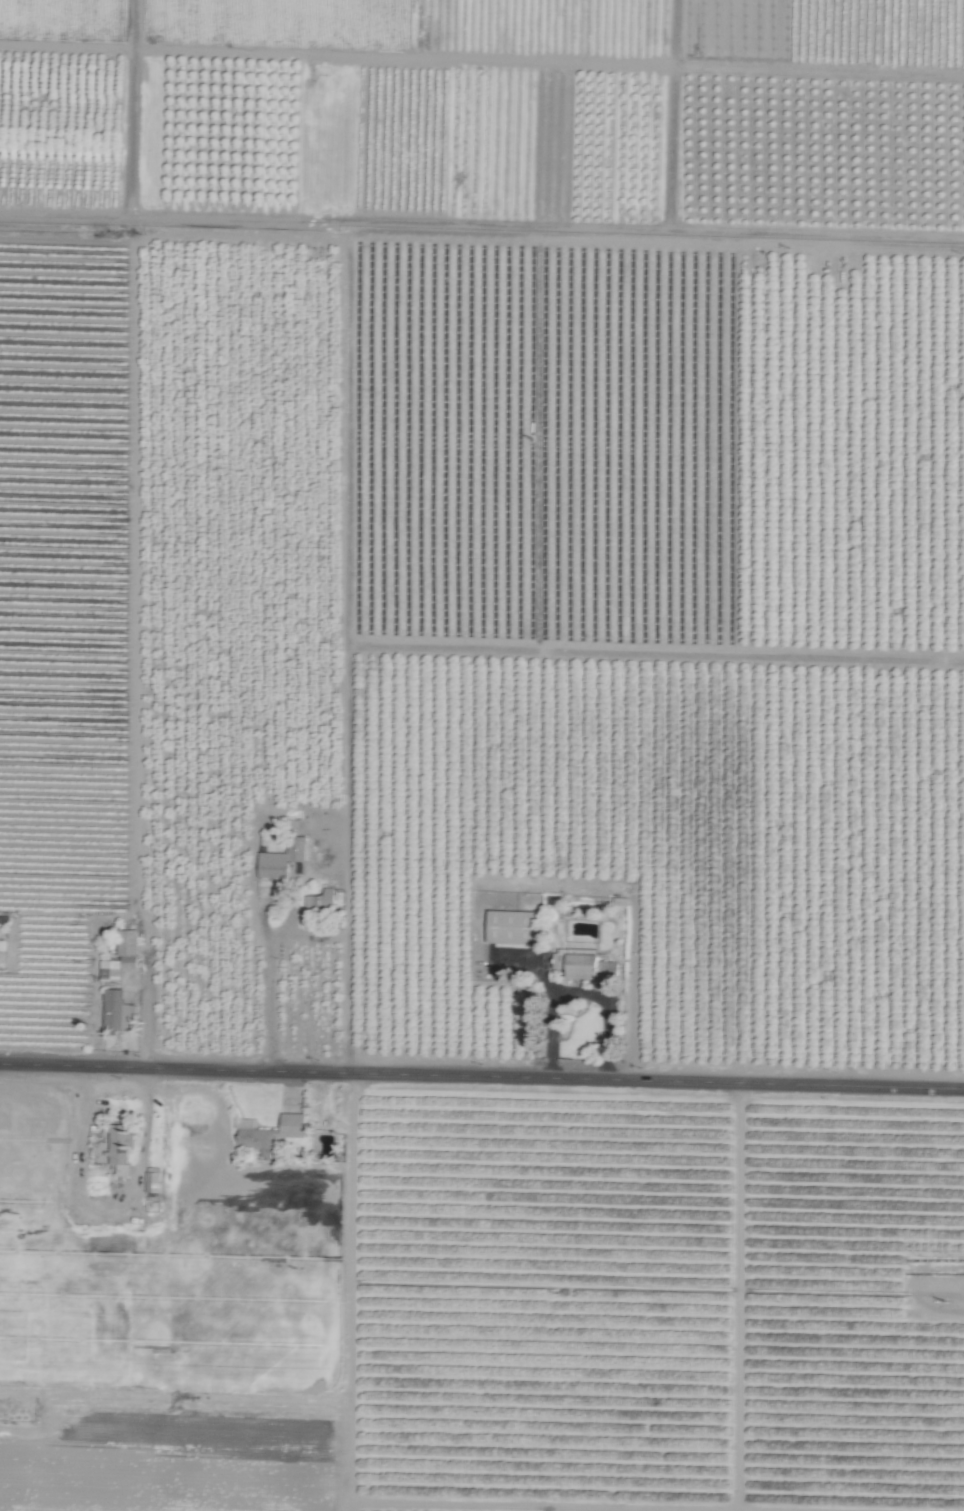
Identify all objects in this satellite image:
crop: (482, 755)
building: (282, 859)
building: (321, 900)
building: (513, 926)
building: (128, 948)
building: (584, 965)
building: (111, 973)
road: (577, 993)
road: (274, 999)
building: (118, 1011)
road: (397, 1068)
road: (879, 1086)
building: (271, 1134)
building: (120, 1148)
building: (152, 1181)
road: (108, 1201)

